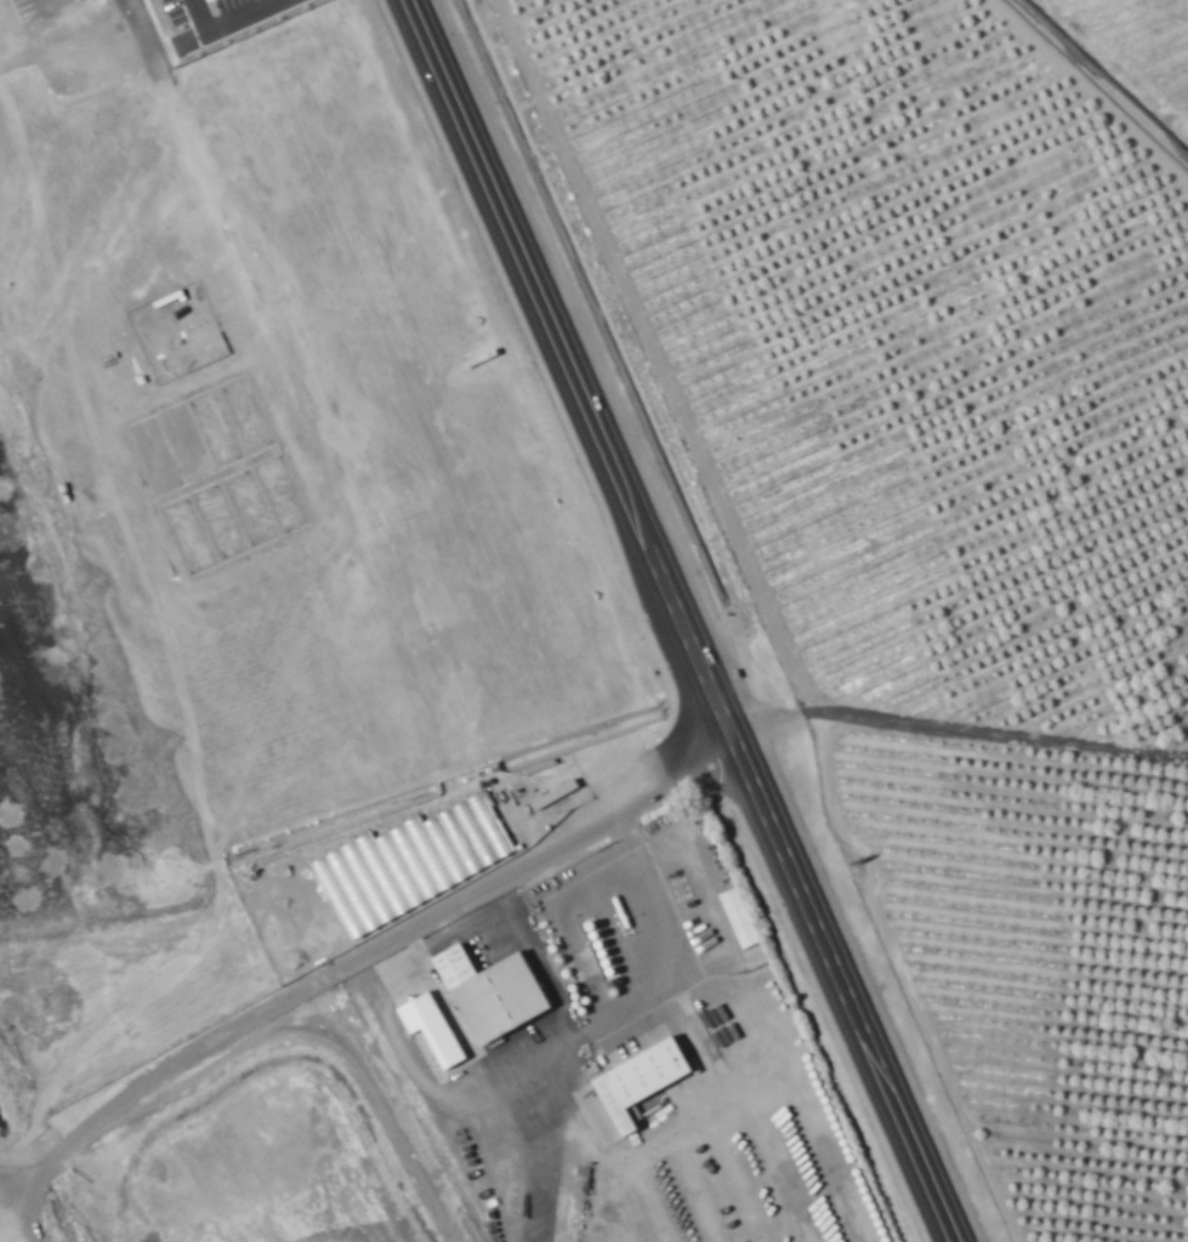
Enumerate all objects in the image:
road: (47, 2)
road: (525, 273)
road: (756, 793)
building: (413, 864)
building: (739, 918)
road: (359, 946)
building: (495, 993)
building: (433, 1027)
building: (643, 1082)
road: (909, 1141)
road: (25, 1200)

